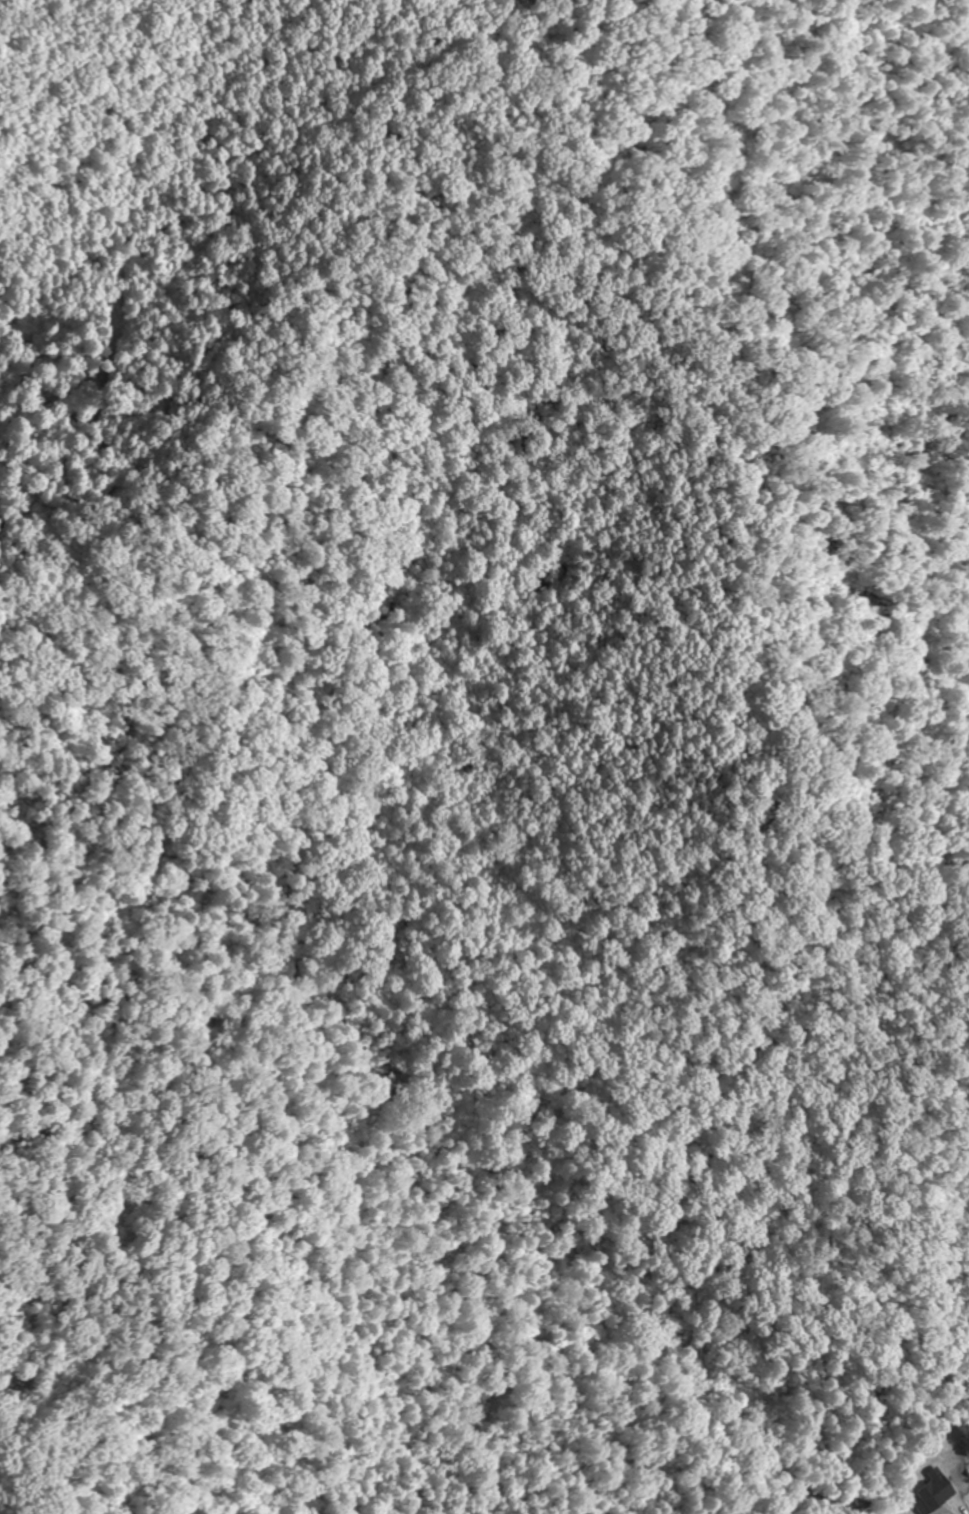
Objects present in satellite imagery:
building: (931, 1492)

